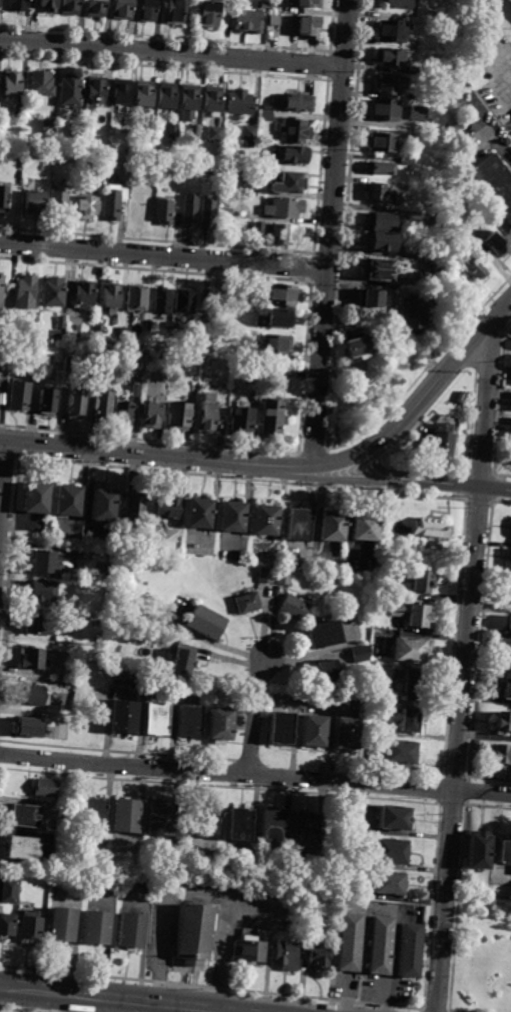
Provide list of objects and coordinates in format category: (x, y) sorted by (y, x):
building: (510, 0)
building: (304, 4)
building: (398, 4)
building: (48, 5)
building: (263, 5)
building: (18, 6)
building: (70, 7)
building: (95, 8)
building: (121, 9)
building: (146, 11)
building: (173, 12)
building: (209, 14)
building: (253, 21)
building: (309, 28)
building: (391, 32)
road: (171, 53)
building: (391, 59)
building: (414, 70)
building: (11, 84)
building: (41, 85)
building: (387, 86)
building: (71, 91)
building: (94, 91)
building: (144, 93)
building: (120, 94)
building: (166, 94)
building: (413, 96)
road: (501, 97)
building: (212, 98)
building: (239, 101)
building: (189, 102)
building: (301, 102)
building: (265, 107)
building: (19, 111)
building: (385, 111)
building: (417, 113)
building: (266, 115)
building: (48, 126)
building: (297, 129)
building: (171, 130)
building: (76, 131)
building: (195, 132)
building: (248, 133)
building: (214, 134)
building: (413, 138)
building: (382, 144)
building: (249, 145)
road: (503, 151)
building: (294, 154)
building: (408, 162)
building: (382, 170)
building: (100, 172)
building: (177, 173)
building: (111, 177)
building: (228, 183)
building: (290, 183)
building: (494, 185)
building: (402, 187)
building: (380, 194)
building: (4, 198)
building: (33, 203)
building: (60, 203)
building: (112, 203)
building: (87, 207)
building: (284, 208)
building: (165, 210)
building: (190, 211)
building: (225, 212)
building: (208, 213)
building: (442, 222)
building: (383, 223)
building: (258, 229)
road: (329, 233)
building: (286, 235)
building: (379, 241)
building: (494, 245)
road: (163, 256)
building: (377, 269)
building: (472, 269)
building: (439, 279)
building: (1, 289)
building: (27, 291)
building: (55, 291)
building: (84, 295)
building: (283, 296)
building: (458, 296)
building: (111, 297)
building: (219, 297)
building: (431, 297)
building: (371, 298)
building: (138, 299)
building: (163, 300)
building: (185, 302)
building: (413, 314)
building: (281, 318)
building: (59, 325)
building: (74, 328)
building: (99, 332)
building: (123, 334)
building: (356, 344)
building: (277, 345)
building: (240, 353)
building: (71, 362)
building: (96, 365)
building: (3, 367)
building: (270, 373)
building: (161, 375)
road: (439, 378)
building: (136, 387)
building: (18, 395)
building: (46, 402)
building: (75, 402)
building: (101, 406)
building: (206, 415)
building: (123, 416)
building: (150, 416)
building: (177, 416)
building: (269, 420)
building: (240, 422)
building: (439, 441)
road: (135, 452)
road: (336, 460)
road: (372, 466)
road: (283, 467)
road: (303, 467)
road: (339, 479)
road: (449, 484)
road: (3, 485)
building: (33, 497)
building: (68, 500)
building: (103, 504)
building: (133, 507)
building: (167, 507)
building: (198, 513)
building: (231, 517)
building: (264, 520)
building: (298, 525)
building: (331, 527)
building: (364, 527)
building: (428, 529)
building: (140, 548)
building: (508, 554)
building: (43, 562)
building: (510, 566)
building: (265, 575)
building: (281, 577)
building: (421, 581)
building: (508, 591)
building: (43, 592)
building: (247, 603)
building: (293, 607)
building: (411, 613)
building: (203, 621)
building: (42, 625)
building: (507, 627)
building: (323, 634)
building: (407, 651)
building: (358, 654)
building: (506, 655)
building: (32, 657)
building: (182, 662)
road: (464, 668)
building: (325, 669)
building: (127, 673)
building: (409, 683)
building: (505, 688)
building: (32, 695)
road: (252, 711)
building: (122, 717)
building: (156, 718)
building: (408, 720)
building: (189, 721)
building: (219, 723)
building: (503, 723)
building: (28, 727)
building: (281, 728)
building: (314, 731)
building: (347, 733)
building: (398, 751)
building: (499, 755)
road: (255, 775)
building: (45, 787)
building: (94, 814)
building: (23, 815)
building: (125, 816)
building: (394, 817)
building: (159, 818)
building: (207, 821)
building: (239, 824)
building: (273, 827)
building: (305, 829)
building: (22, 848)
building: (479, 850)
building: (390, 851)
building: (504, 852)
building: (388, 883)
building: (7, 891)
building: (312, 911)
building: (5, 925)
building: (60, 925)
building: (95, 927)
building: (28, 930)
building: (128, 932)
building: (195, 933)
building: (349, 942)
building: (380, 945)
building: (246, 949)
building: (410, 951)
building: (318, 955)
building: (284, 956)
road: (120, 999)
road: (28, 1001)
road: (69, 1003)
road: (130, 1006)
road: (180, 1009)

